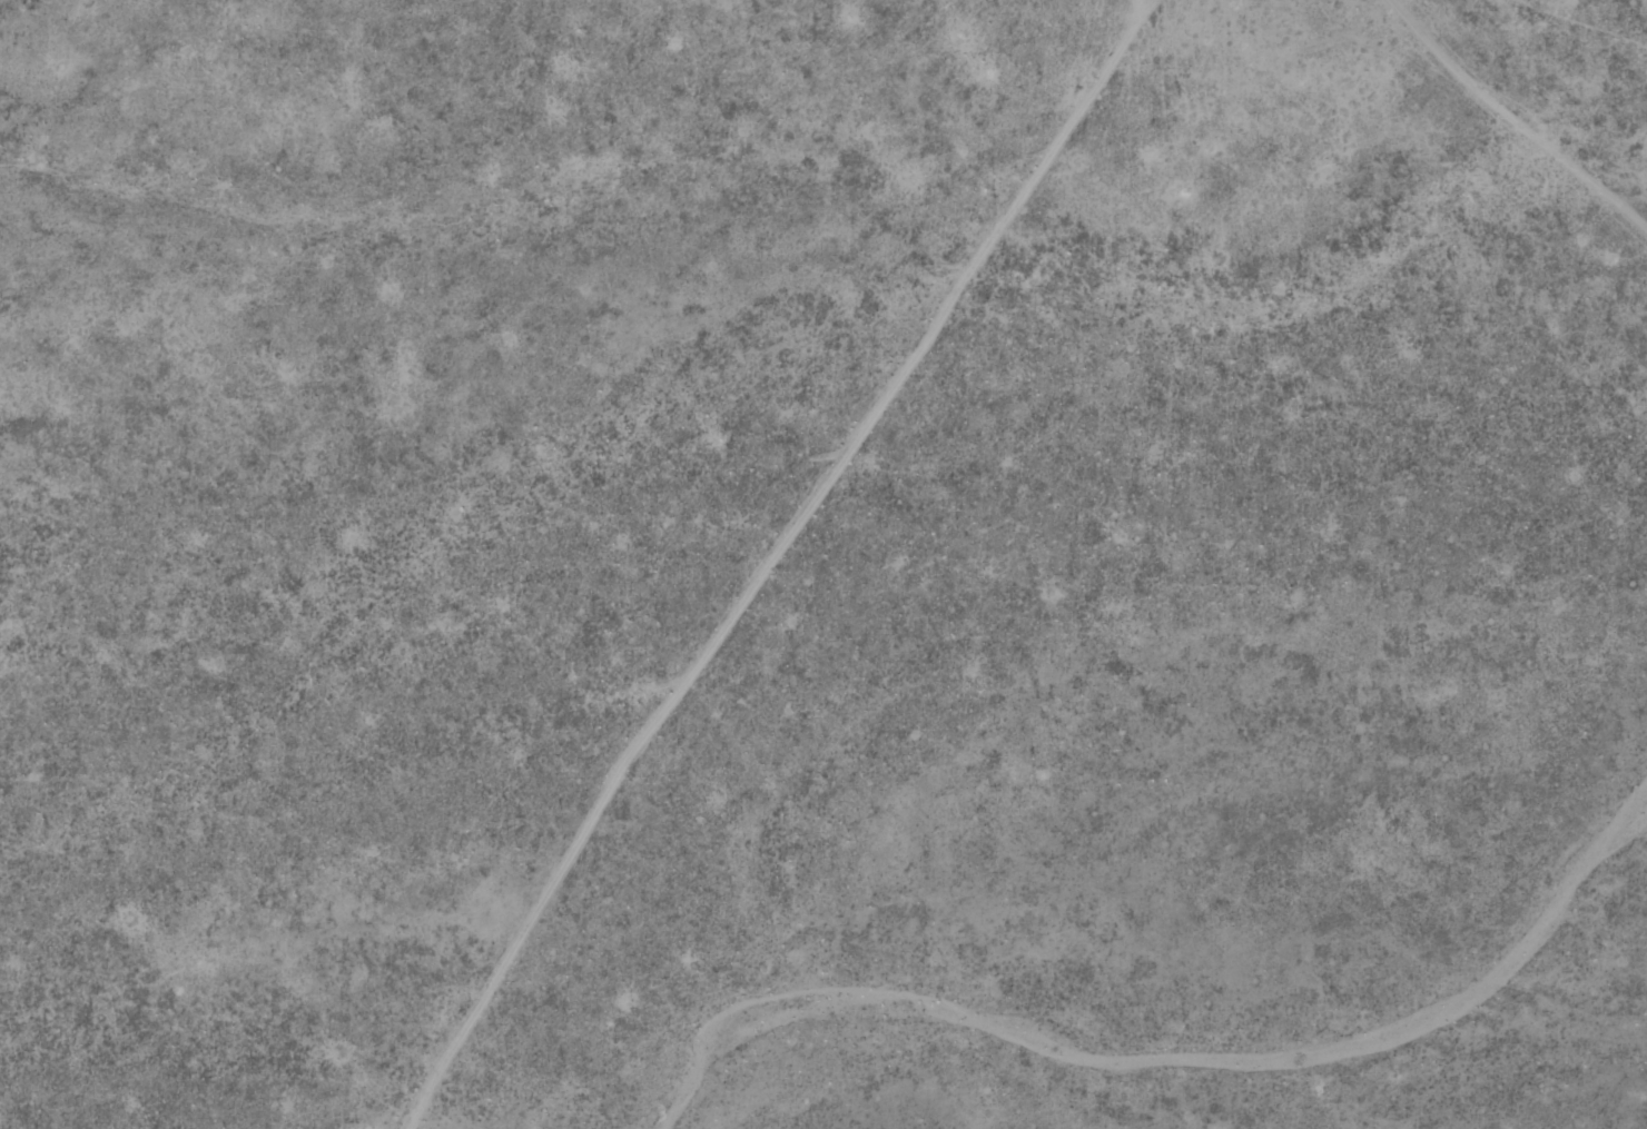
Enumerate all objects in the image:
road: (1493, 90)

